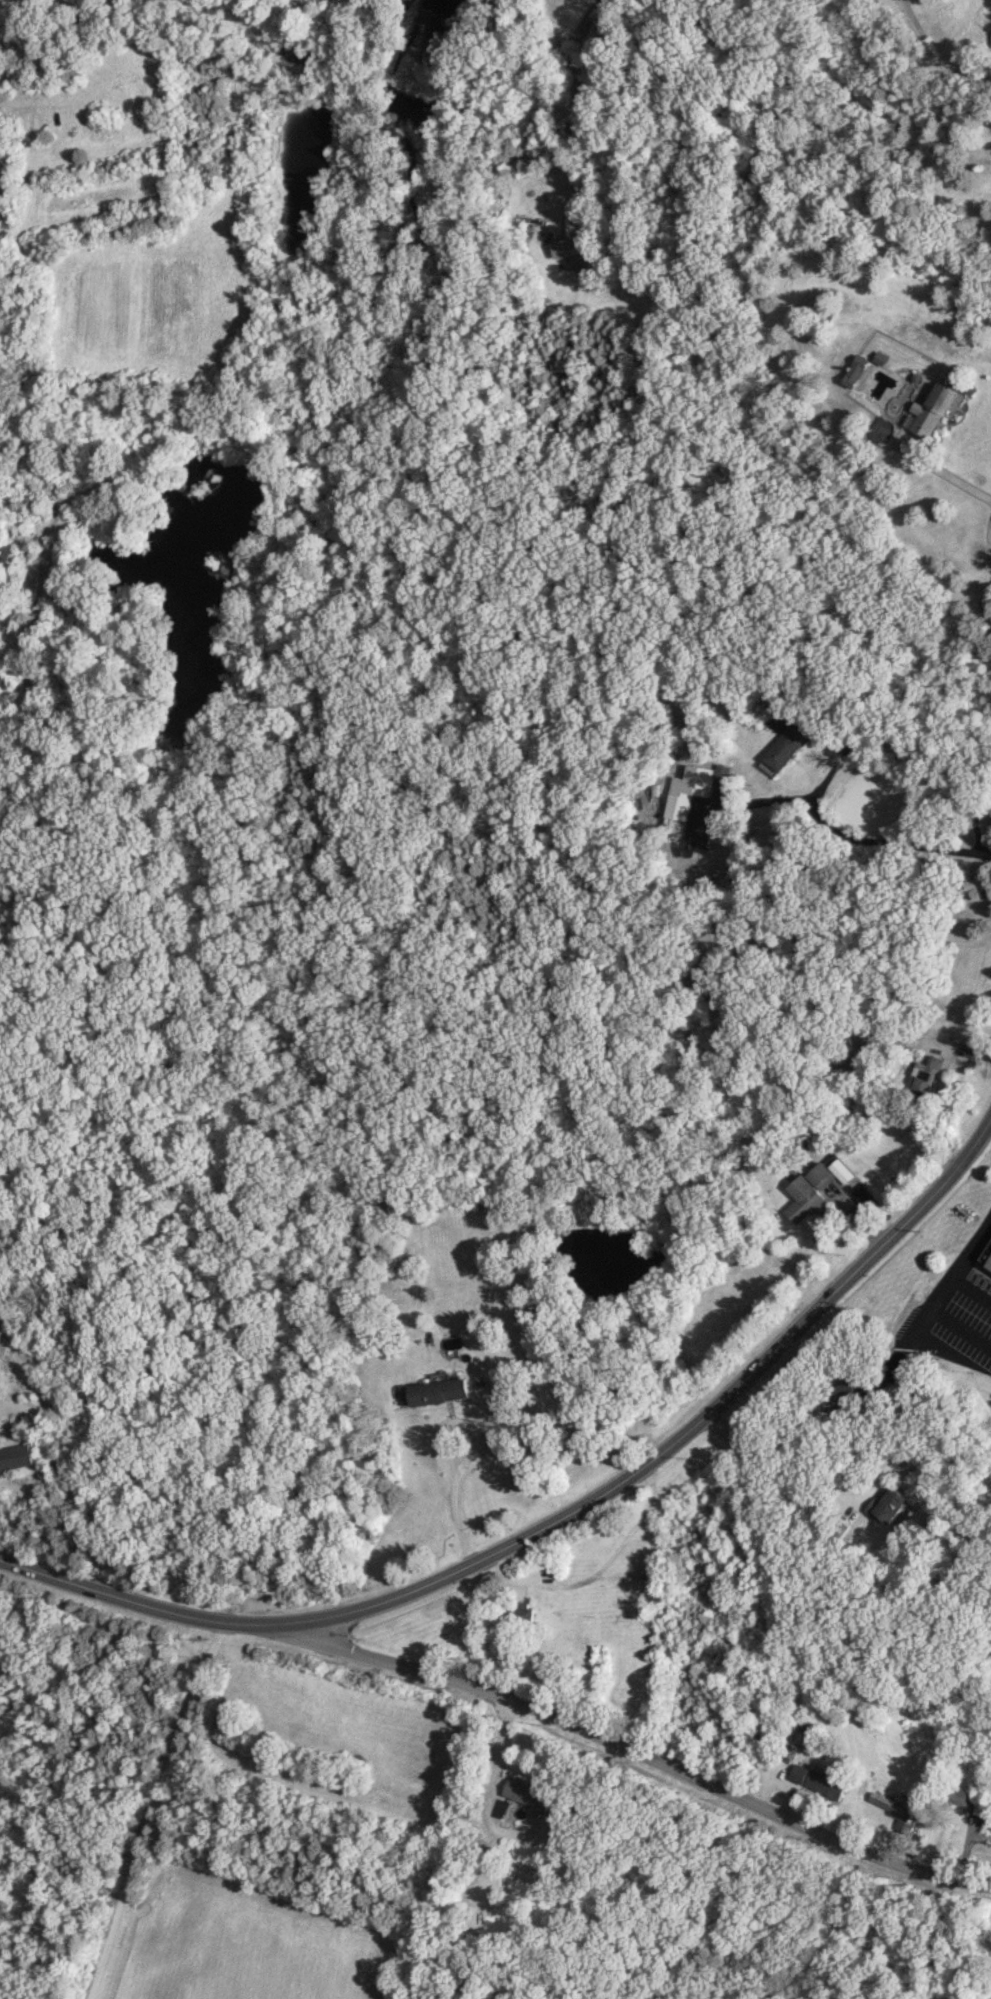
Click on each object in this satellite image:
road: (919, 31)
building: (990, 49)
road: (917, 53)
road: (573, 81)
building: (573, 247)
building: (857, 370)
building: (932, 410)
road: (942, 472)
building: (3, 554)
building: (789, 744)
road: (908, 750)
building: (721, 771)
building: (687, 793)
road: (702, 900)
road: (840, 920)
building: (926, 1075)
building: (830, 1171)
building: (806, 1199)
building: (990, 1248)
road: (962, 1265)
building: (990, 1266)
road: (972, 1288)
road: (961, 1326)
building: (434, 1392)
building: (843, 1393)
road: (441, 1453)
building: (16, 1456)
road: (866, 1473)
building: (891, 1504)
road: (561, 1516)
road: (100, 1517)
building: (524, 1611)
road: (641, 1764)
building: (818, 1781)
road: (488, 1792)
building: (527, 1794)
building: (957, 1799)
road: (151, 1808)
building: (895, 1809)

